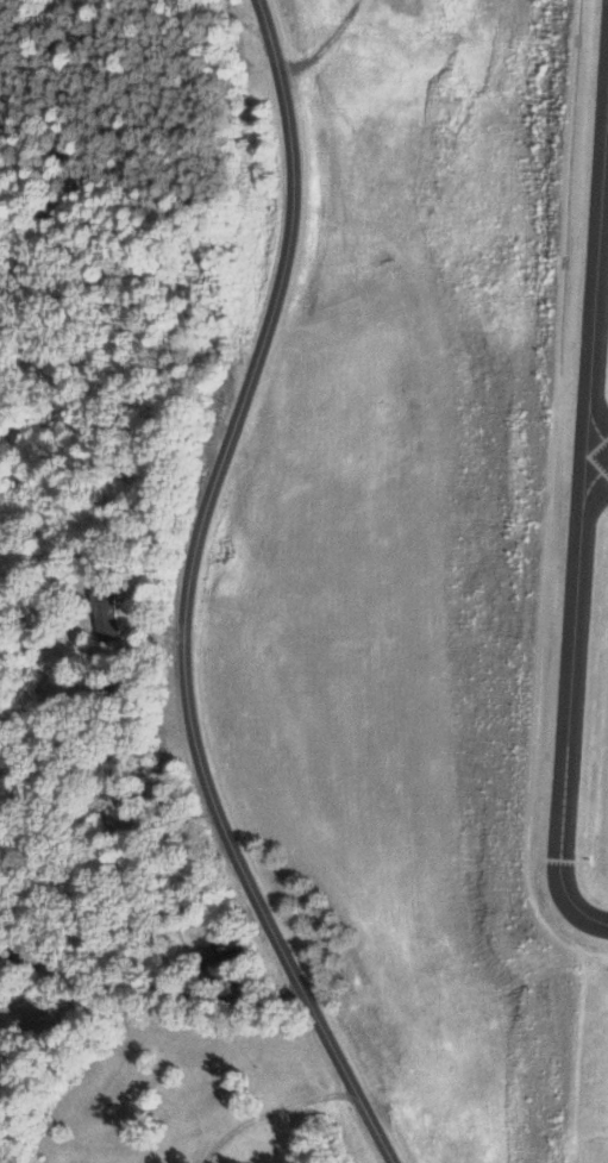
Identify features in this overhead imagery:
airport taxiway: (595, 246)
airport taxiway: (595, 456)
road: (182, 594)
building: (101, 613)
airport taxiway: (565, 705)
building: (111, 800)
building: (226, 967)
road: (149, 983)
road: (268, 1111)

